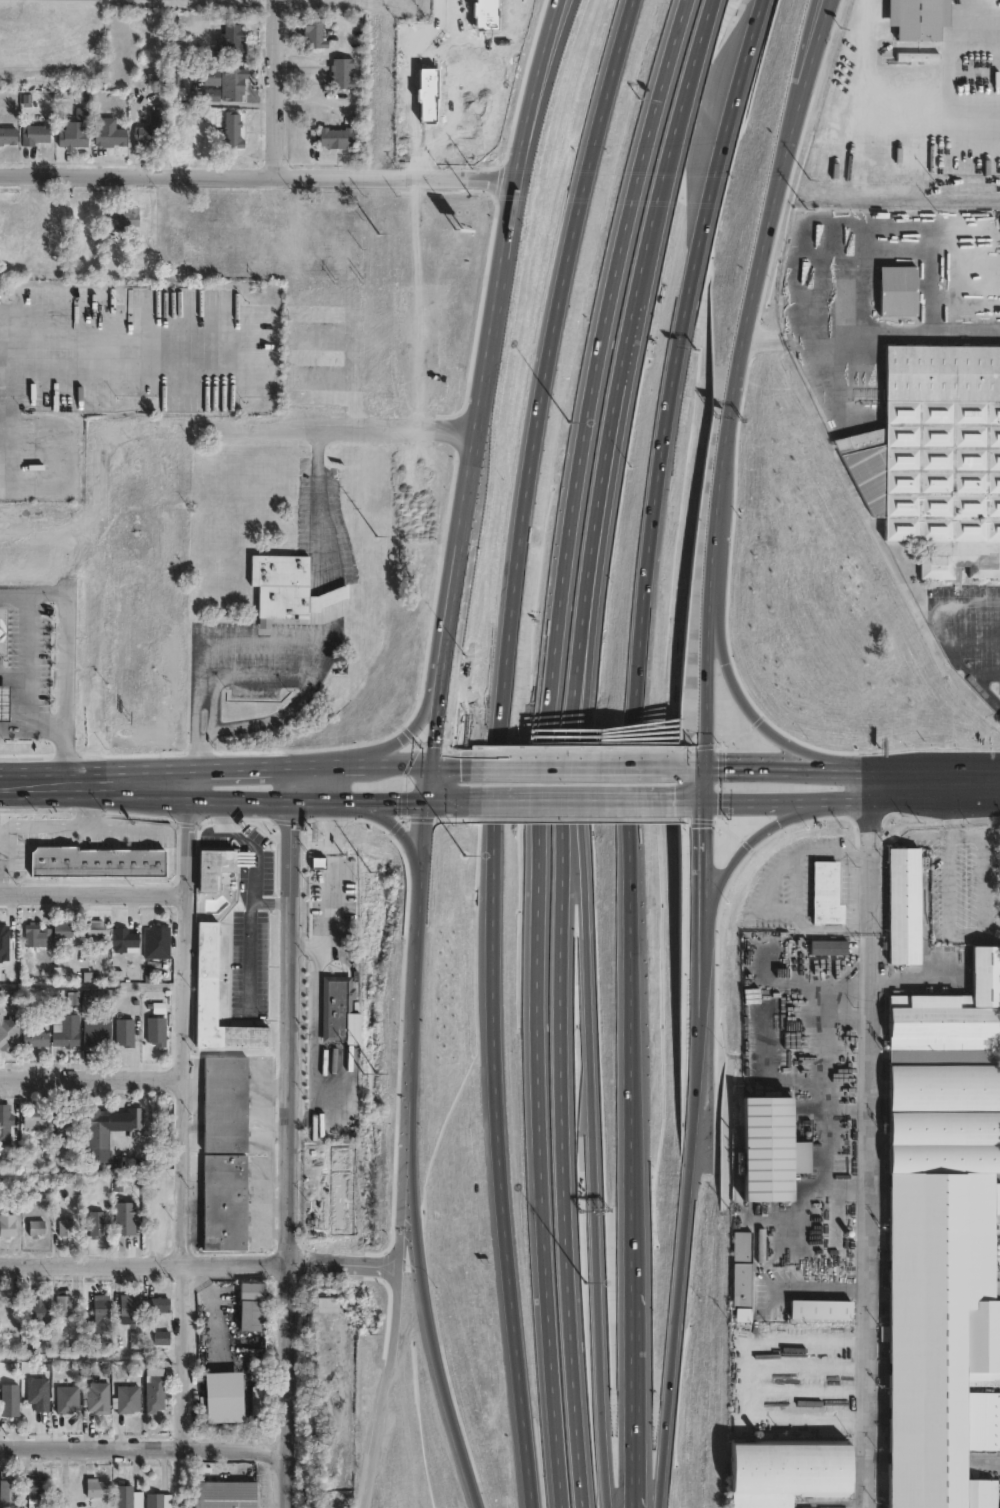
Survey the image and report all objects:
road: (558, 13)
road: (560, 13)
building: (923, 18)
building: (315, 32)
building: (229, 36)
road: (806, 51)
building: (512, 57)
building: (343, 73)
building: (213, 78)
building: (155, 80)
building: (233, 84)
road: (416, 86)
road: (274, 89)
road: (686, 96)
road: (886, 108)
building: (75, 131)
building: (233, 131)
building: (34, 133)
building: (110, 134)
building: (8, 136)
building: (147, 136)
building: (336, 137)
road: (255, 177)
power tower: (378, 212)
building: (123, 216)
building: (900, 292)
road: (862, 322)
road: (17, 329)
road: (489, 337)
road: (680, 341)
road: (599, 346)
road: (548, 348)
road: (130, 349)
building: (475, 355)
road: (742, 396)
power tower: (377, 407)
road: (258, 428)
building: (937, 458)
road: (325, 503)
building: (288, 588)
power tower: (376, 619)
road: (939, 628)
building: (3, 630)
road: (972, 638)
road: (292, 642)
road: (66, 646)
road: (30, 660)
road: (15, 674)
road: (240, 678)
road: (987, 692)
building: (4, 700)
gas station: (4, 700)
road: (439, 706)
road: (752, 709)
road: (419, 717)
road: (33, 727)
road: (398, 759)
traffic signals: (431, 759)
road: (441, 759)
road: (569, 760)
road: (317, 761)
traffic signals: (709, 761)
road: (544, 763)
road: (782, 763)
road: (224, 765)
road: (499, 765)
road: (974, 765)
road: (88, 766)
road: (913, 766)
road: (428, 779)
road: (74, 780)
road: (286, 780)
road: (68, 793)
road: (211, 797)
road: (975, 798)
road: (310, 799)
road: (391, 799)
traffic signals: (426, 799)
road: (571, 800)
road: (829, 801)
road: (699, 802)
traffic signals: (708, 803)
road: (950, 819)
road: (215, 829)
road: (396, 831)
road: (926, 838)
road: (250, 844)
power tower: (373, 846)
road: (563, 846)
road: (582, 847)
road: (739, 853)
building: (96, 862)
building: (213, 867)
road: (706, 872)
building: (420, 877)
road: (796, 888)
road: (90, 891)
building: (828, 893)
road: (334, 898)
building: (905, 904)
building: (95, 929)
building: (61, 930)
building: (414, 934)
road: (946, 935)
building: (37, 936)
road: (249, 939)
building: (124, 940)
building: (4, 942)
building: (157, 943)
building: (830, 948)
road: (415, 956)
building: (207, 974)
road: (703, 981)
road: (624, 987)
building: (337, 1010)
building: (8, 1031)
building: (156, 1031)
building: (64, 1033)
building: (96, 1033)
building: (125, 1033)
building: (36, 1039)
building: (400, 1044)
road: (326, 1054)
road: (91, 1078)
power tower: (371, 1084)
road: (183, 1108)
building: (135, 1119)
building: (35, 1122)
building: (67, 1124)
building: (6, 1127)
building: (96, 1130)
building: (502, 1136)
road: (872, 1136)
building: (770, 1149)
road: (290, 1153)
building: (225, 1154)
road: (498, 1167)
road: (539, 1167)
building: (342, 1201)
building: (125, 1219)
building: (7, 1225)
building: (97, 1225)
building: (66, 1228)
building: (36, 1229)
building: (944, 1239)
road: (200, 1262)
road: (680, 1264)
building: (742, 1275)
building: (520, 1292)
building: (251, 1293)
building: (101, 1303)
building: (64, 1305)
building: (328, 1305)
building: (157, 1306)
building: (823, 1309)
building: (129, 1310)
building: (3, 1312)
road: (396, 1312)
building: (37, 1314)
road: (424, 1314)
power tower: (369, 1321)
building: (161, 1337)
building: (38, 1394)
building: (155, 1394)
road: (626, 1396)
building: (222, 1397)
building: (98, 1399)
building: (67, 1400)
building: (128, 1400)
building: (10, 1401)
road: (146, 1450)
building: (789, 1472)
building: (99, 1488)
building: (35, 1489)
building: (9, 1490)
building: (227, 1495)
building: (124, 1497)
building: (154, 1501)

